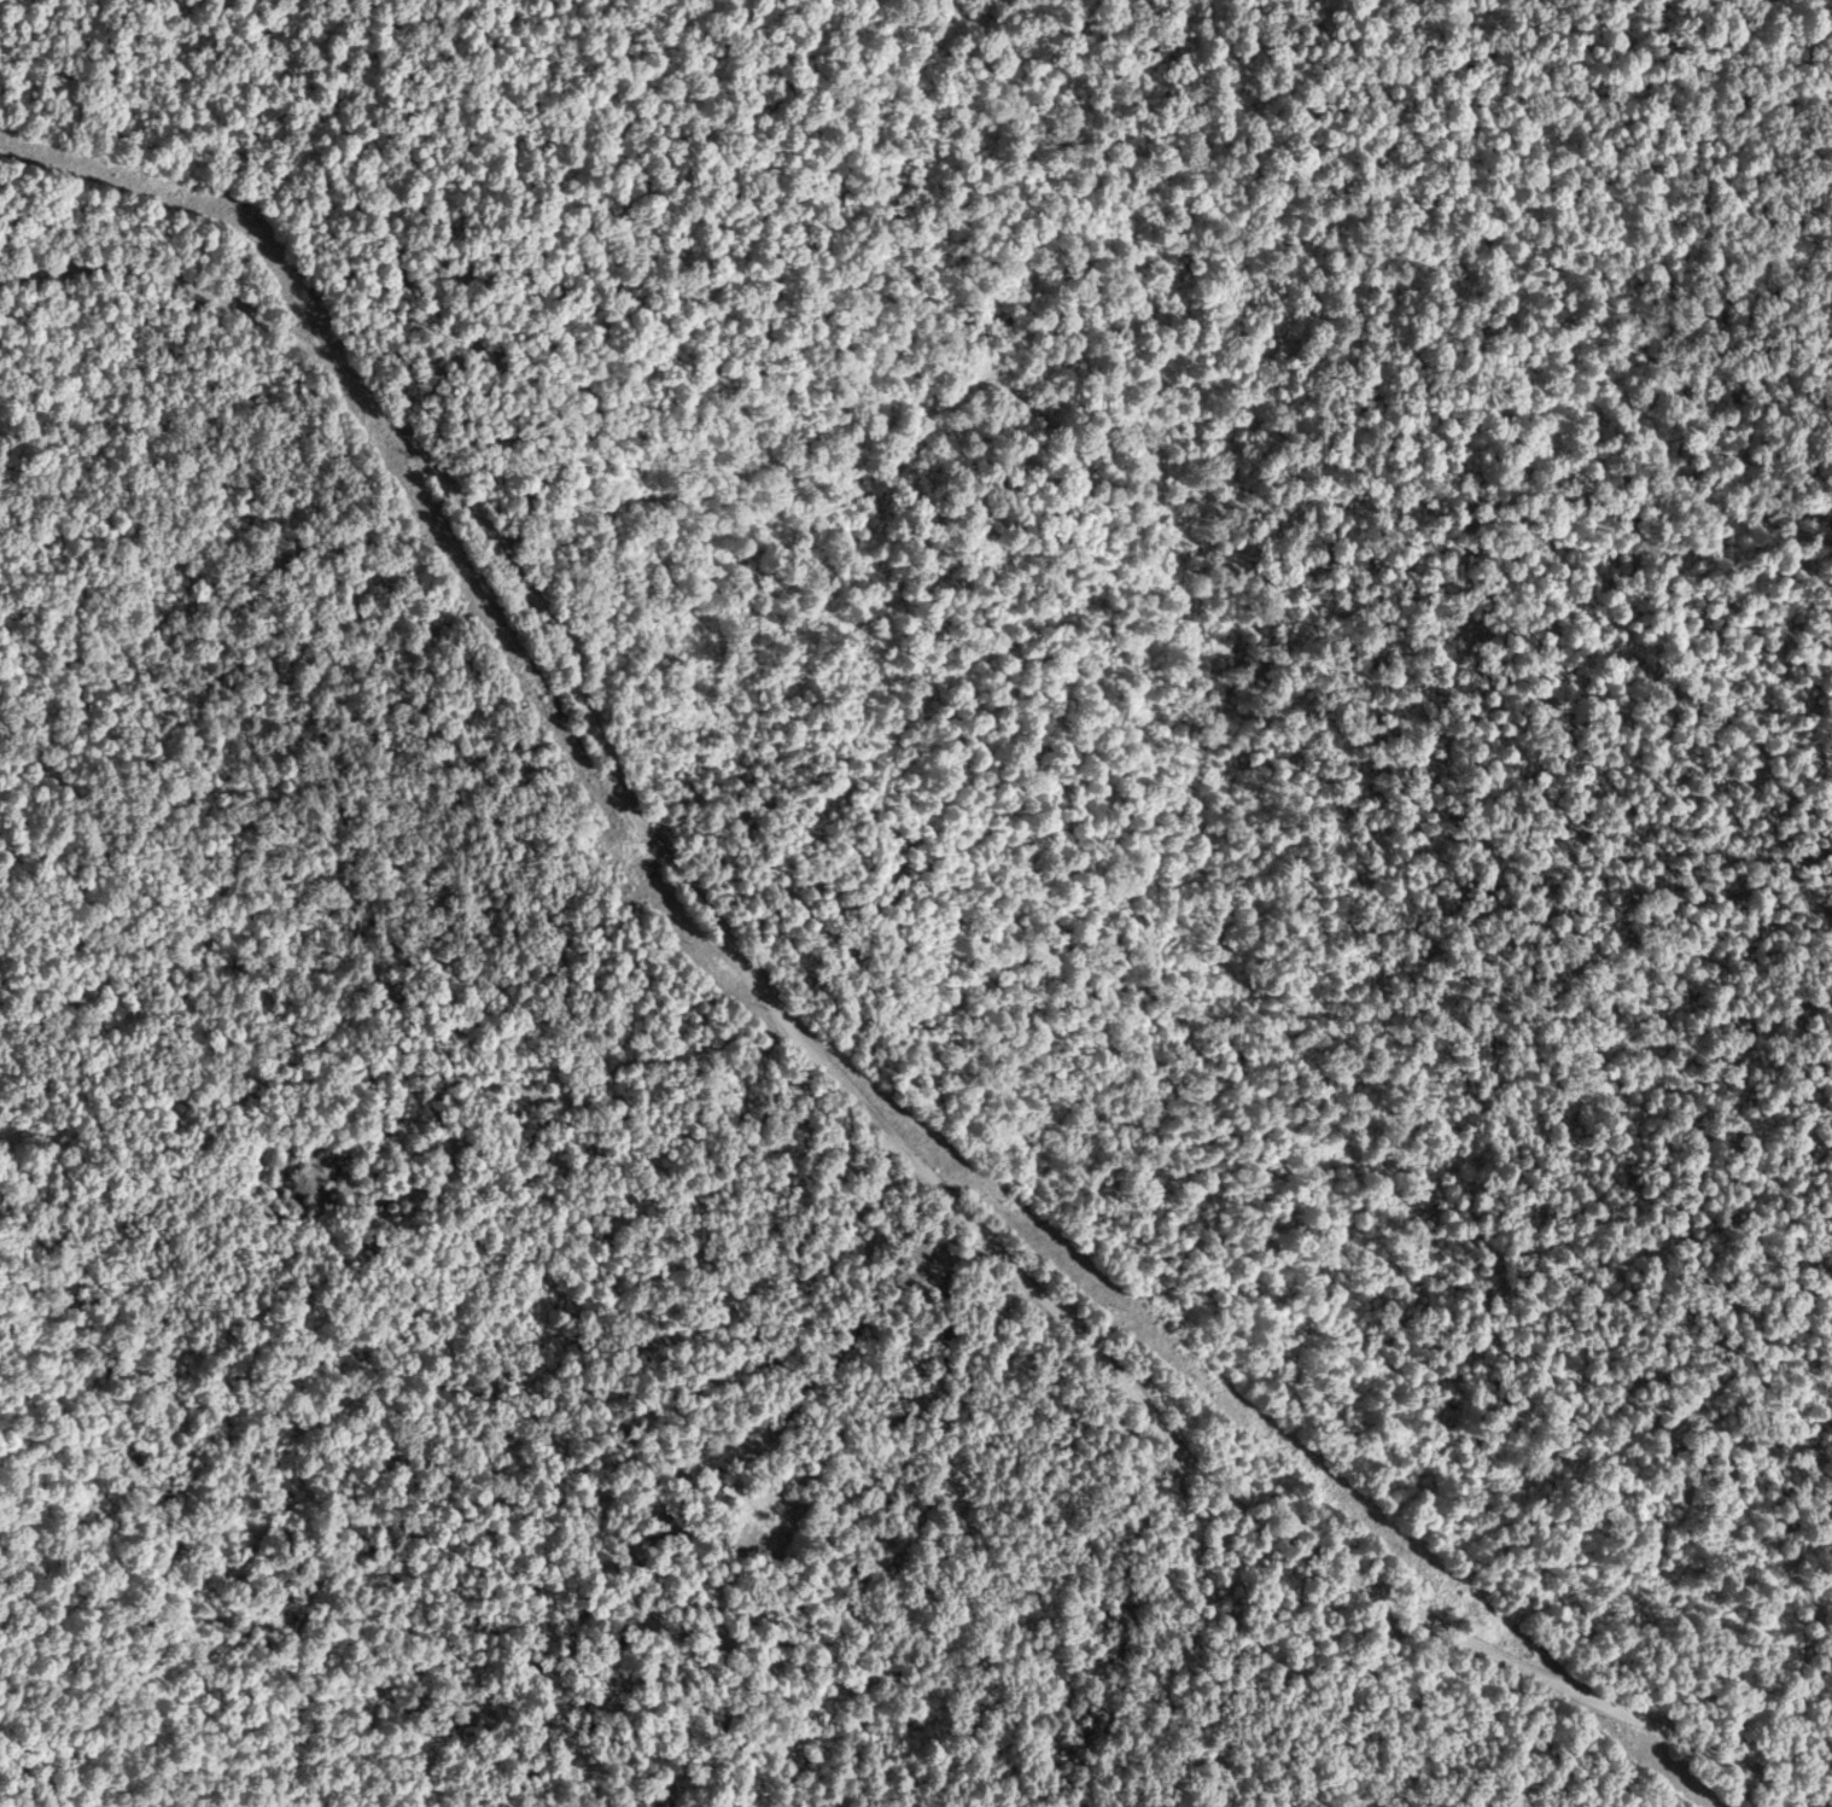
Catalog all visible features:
road: (830, 1076)

